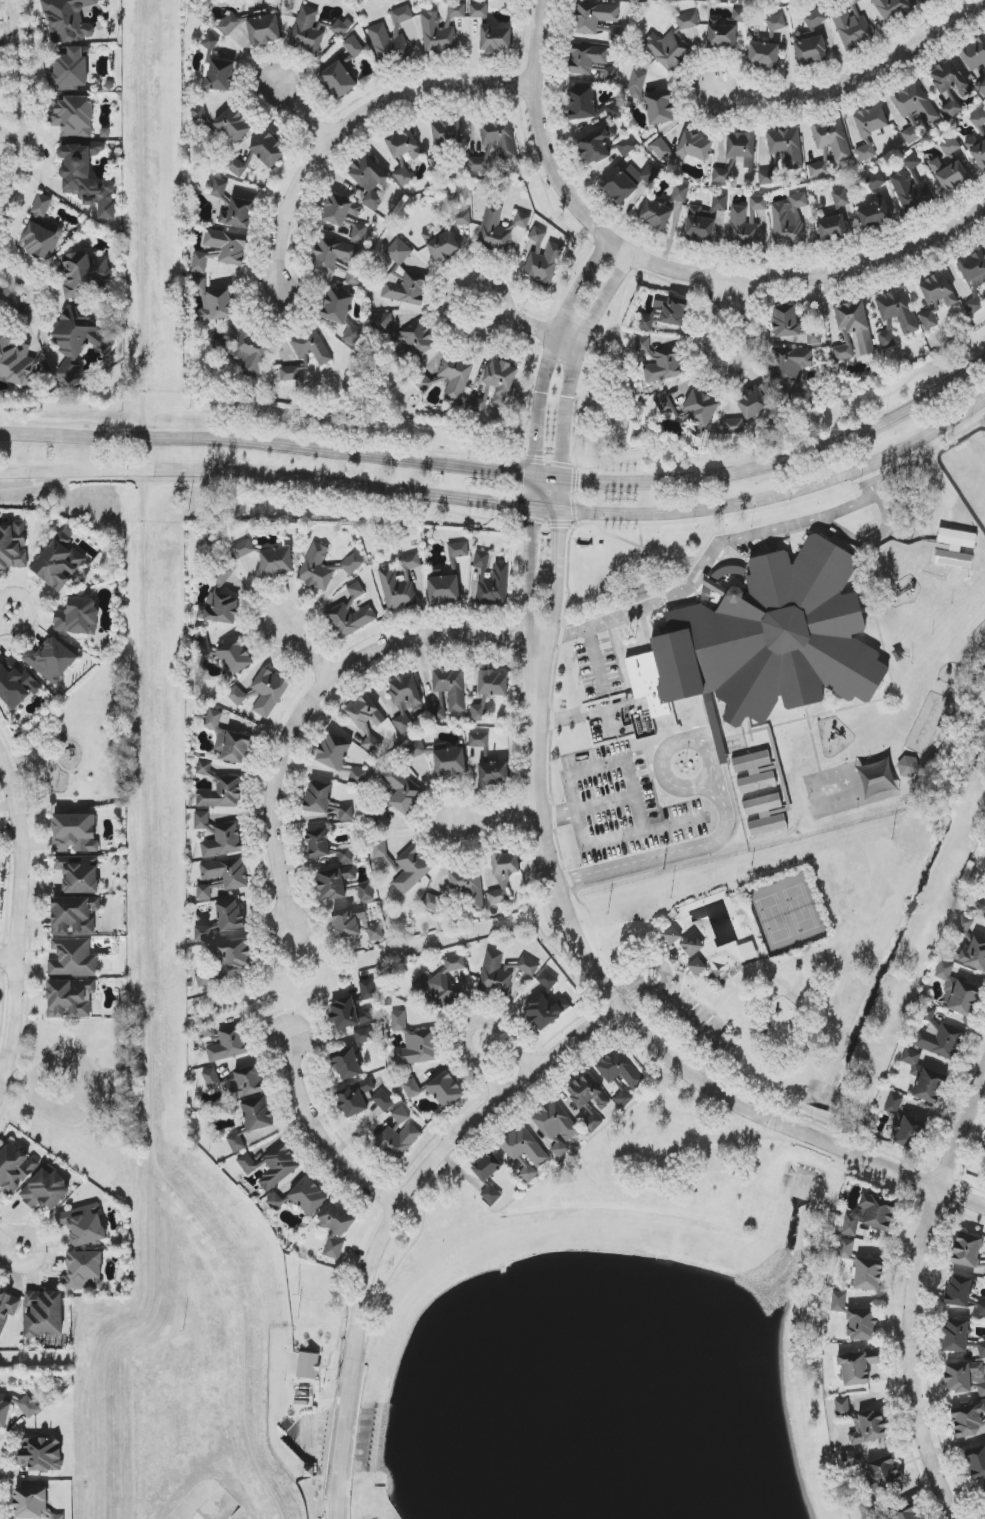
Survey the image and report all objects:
building: (923, 1)
building: (892, 8)
building: (456, 11)
building: (479, 11)
building: (740, 16)
building: (593, 17)
building: (815, 19)
building: (68, 20)
building: (687, 21)
building: (776, 23)
building: (230, 24)
building: (852, 25)
building: (342, 28)
building: (264, 29)
building: (307, 31)
building: (437, 34)
building: (615, 34)
building: (721, 34)
building: (391, 37)
building: (496, 39)
building: (210, 42)
building: (354, 46)
building: (667, 49)
building: (811, 51)
building: (974, 53)
building: (764, 55)
building: (586, 59)
building: (70, 70)
building: (611, 74)
building: (220, 75)
building: (949, 79)
building: (338, 80)
building: (637, 84)
road: (860, 86)
building: (981, 87)
building: (915, 104)
building: (587, 105)
road: (18, 108)
building: (659, 108)
building: (952, 109)
road: (301, 115)
building: (73, 116)
building: (199, 116)
building: (871, 121)
building: (232, 124)
road: (348, 126)
building: (447, 132)
building: (833, 139)
building: (403, 144)
building: (596, 145)
building: (625, 146)
building: (786, 146)
building: (950, 146)
building: (686, 147)
building: (742, 148)
building: (269, 149)
building: (507, 151)
building: (865, 151)
building: (977, 152)
building: (819, 169)
building: (949, 174)
building: (403, 176)
building: (86, 177)
building: (768, 177)
building: (369, 179)
building: (875, 181)
building: (621, 185)
building: (911, 186)
building: (219, 188)
building: (680, 193)
building: (841, 198)
building: (758, 203)
building: (238, 214)
building: (655, 214)
building: (875, 214)
building: (460, 218)
building: (522, 220)
building: (704, 220)
building: (789, 221)
building: (742, 228)
building: (832, 228)
building: (494, 230)
building: (41, 231)
building: (441, 243)
building: (220, 251)
building: (334, 254)
building: (543, 257)
road: (669, 270)
building: (84, 275)
building: (353, 276)
building: (403, 278)
building: (974, 279)
building: (938, 290)
road: (35, 299)
building: (213, 301)
building: (338, 306)
building: (899, 312)
building: (665, 313)
building: (930, 317)
building: (794, 325)
road: (529, 327)
building: (853, 332)
building: (403, 333)
building: (886, 338)
building: (79, 340)
building: (643, 345)
building: (240, 349)
road: (552, 352)
building: (306, 355)
building: (17, 364)
building: (664, 365)
building: (792, 369)
road: (726, 372)
road: (572, 376)
building: (501, 380)
building: (479, 402)
building: (663, 402)
building: (701, 411)
building: (747, 412)
road: (505, 473)
road: (503, 503)
road: (871, 540)
building: (13, 546)
building: (955, 548)
building: (243, 549)
building: (458, 550)
road: (713, 550)
road: (529, 559)
building: (60, 561)
building: (277, 562)
road: (559, 578)
building: (492, 579)
building: (404, 584)
building: (444, 589)
building: (356, 590)
building: (221, 610)
building: (78, 617)
road: (6, 618)
building: (349, 620)
building: (766, 641)
building: (203, 645)
road: (305, 652)
building: (235, 656)
building: (51, 660)
building: (15, 683)
building: (493, 683)
building: (451, 686)
building: (268, 692)
building: (236, 695)
building: (405, 700)
road: (316, 702)
building: (439, 710)
building: (479, 711)
road: (579, 716)
building: (367, 721)
building: (228, 739)
building: (479, 740)
building: (416, 750)
building: (334, 752)
building: (450, 762)
building: (755, 772)
building: (494, 773)
road: (630, 775)
building: (359, 776)
road: (676, 786)
building: (403, 790)
building: (318, 797)
building: (346, 813)
building: (765, 815)
road: (497, 822)
building: (75, 833)
building: (218, 836)
building: (318, 844)
building: (380, 848)
road: (669, 852)
building: (345, 856)
building: (411, 870)
building: (79, 874)
building: (504, 877)
building: (234, 879)
building: (335, 882)
building: (467, 887)
building: (366, 892)
building: (432, 904)
building: (981, 904)
road: (17, 913)
building: (74, 915)
building: (230, 915)
building: (964, 924)
building: (355, 926)
building: (203, 933)
building: (692, 945)
park: (750, 946)
building: (747, 951)
building: (974, 955)
building: (73, 958)
road: (7, 960)
building: (224, 962)
building: (528, 966)
building: (696, 966)
building: (495, 973)
building: (547, 980)
building: (439, 986)
building: (368, 990)
building: (958, 991)
road: (4, 994)
building: (70, 998)
road: (614, 1002)
building: (547, 1010)
building: (348, 1014)
road: (473, 1024)
building: (206, 1030)
building: (364, 1036)
building: (938, 1037)
building: (414, 1043)
building: (229, 1044)
building: (913, 1061)
building: (347, 1064)
building: (620, 1069)
road: (3, 1077)
building: (211, 1078)
road: (984, 1079)
road: (12, 1080)
building: (245, 1083)
building: (929, 1086)
building: (411, 1089)
building: (588, 1093)
road: (101, 1095)
building: (623, 1096)
building: (362, 1098)
building: (894, 1104)
building: (258, 1114)
building: (401, 1115)
building: (556, 1125)
road: (318, 1132)
building: (910, 1133)
building: (398, 1140)
building: (236, 1142)
building: (524, 1146)
building: (983, 1149)
park: (665, 1162)
building: (248, 1163)
building: (487, 1166)
building: (15, 1168)
building: (279, 1168)
building: (527, 1172)
building: (46, 1189)
building: (491, 1194)
building: (308, 1196)
road: (961, 1197)
building: (276, 1201)
road: (413, 1203)
building: (870, 1214)
road: (390, 1215)
building: (83, 1225)
building: (336, 1229)
road: (421, 1230)
road: (11, 1241)
building: (846, 1249)
building: (967, 1251)
building: (84, 1270)
building: (868, 1274)
building: (960, 1291)
road: (914, 1294)
building: (838, 1302)
building: (7, 1308)
building: (981, 1308)
building: (44, 1313)
building: (862, 1325)
building: (955, 1336)
road: (361, 1344)
building: (981, 1348)
building: (308, 1366)
building: (856, 1368)
building: (965, 1377)
building: (28, 1406)
building: (842, 1407)
building: (4, 1411)
building: (969, 1420)
building: (868, 1427)
building: (42, 1455)
building: (976, 1461)
building: (875, 1469)
building: (984, 1495)
building: (33, 1504)
building: (908, 1514)

